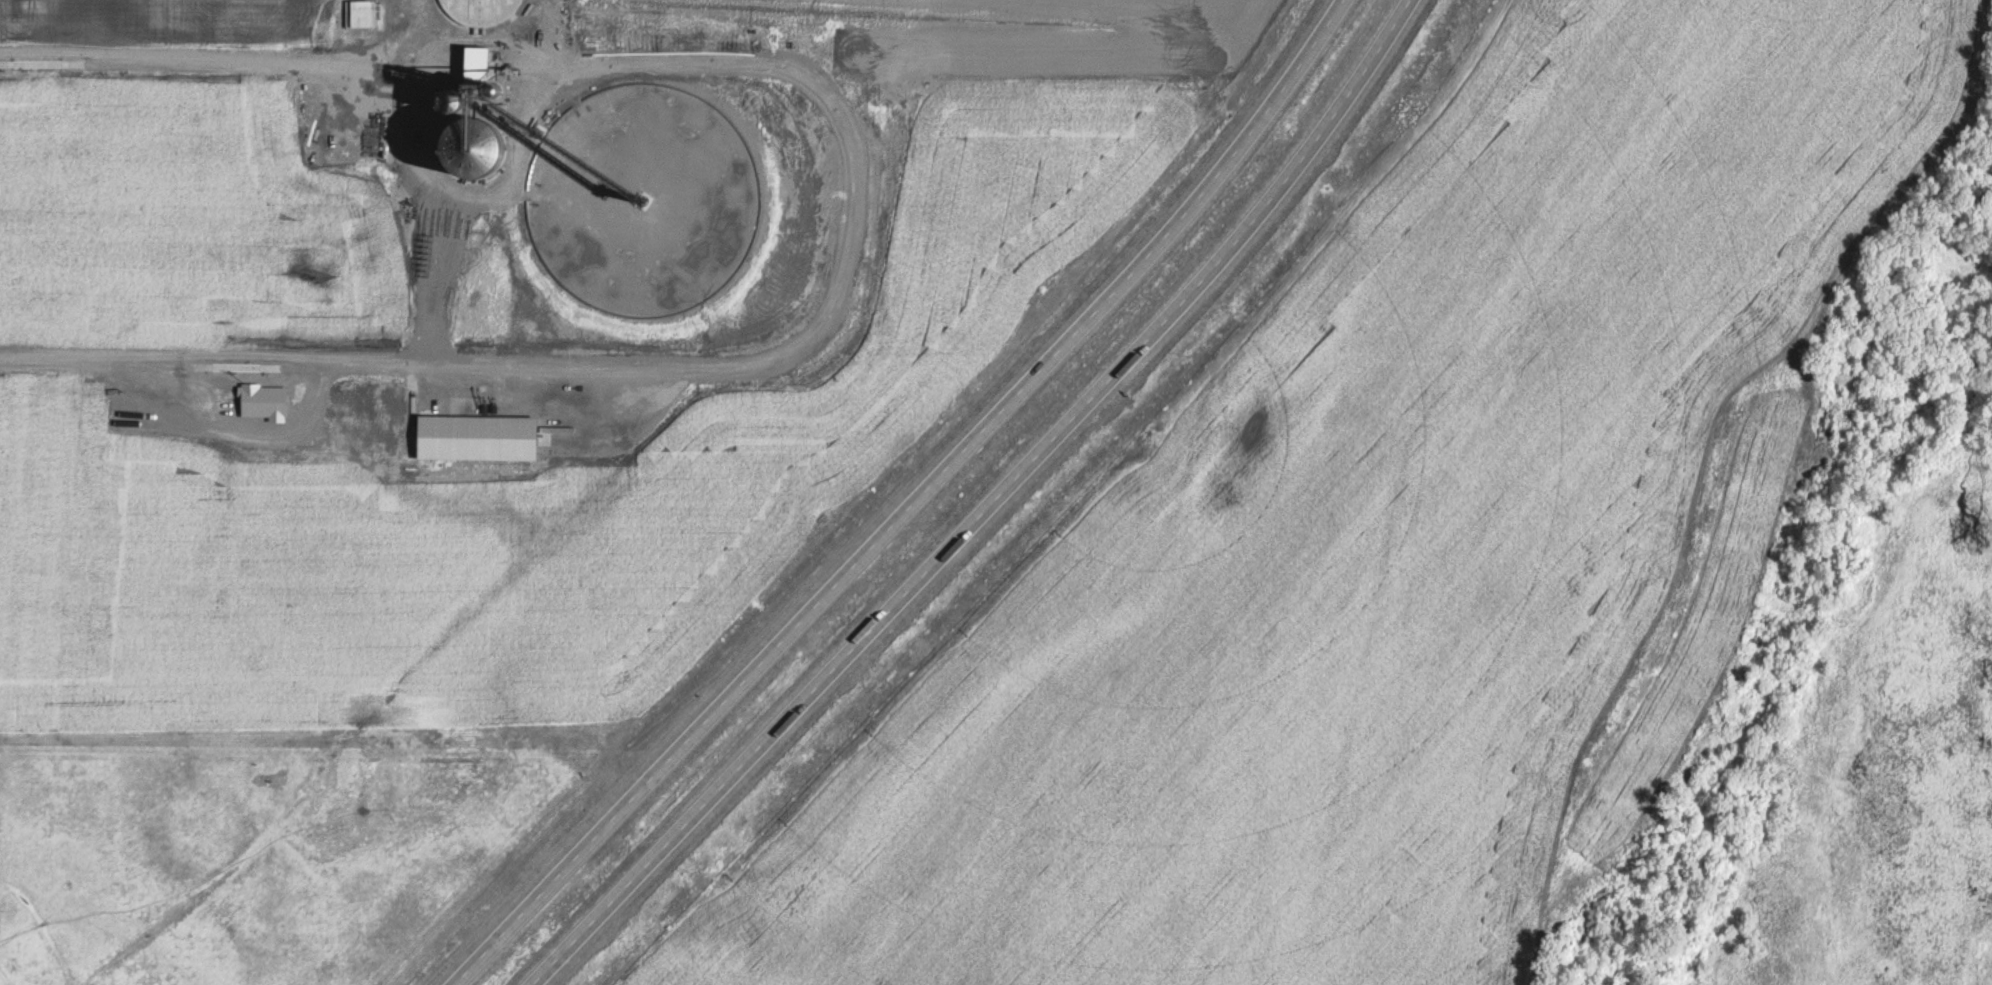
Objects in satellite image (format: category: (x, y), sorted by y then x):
road: (855, 201)
road: (909, 503)
road: (1008, 504)

